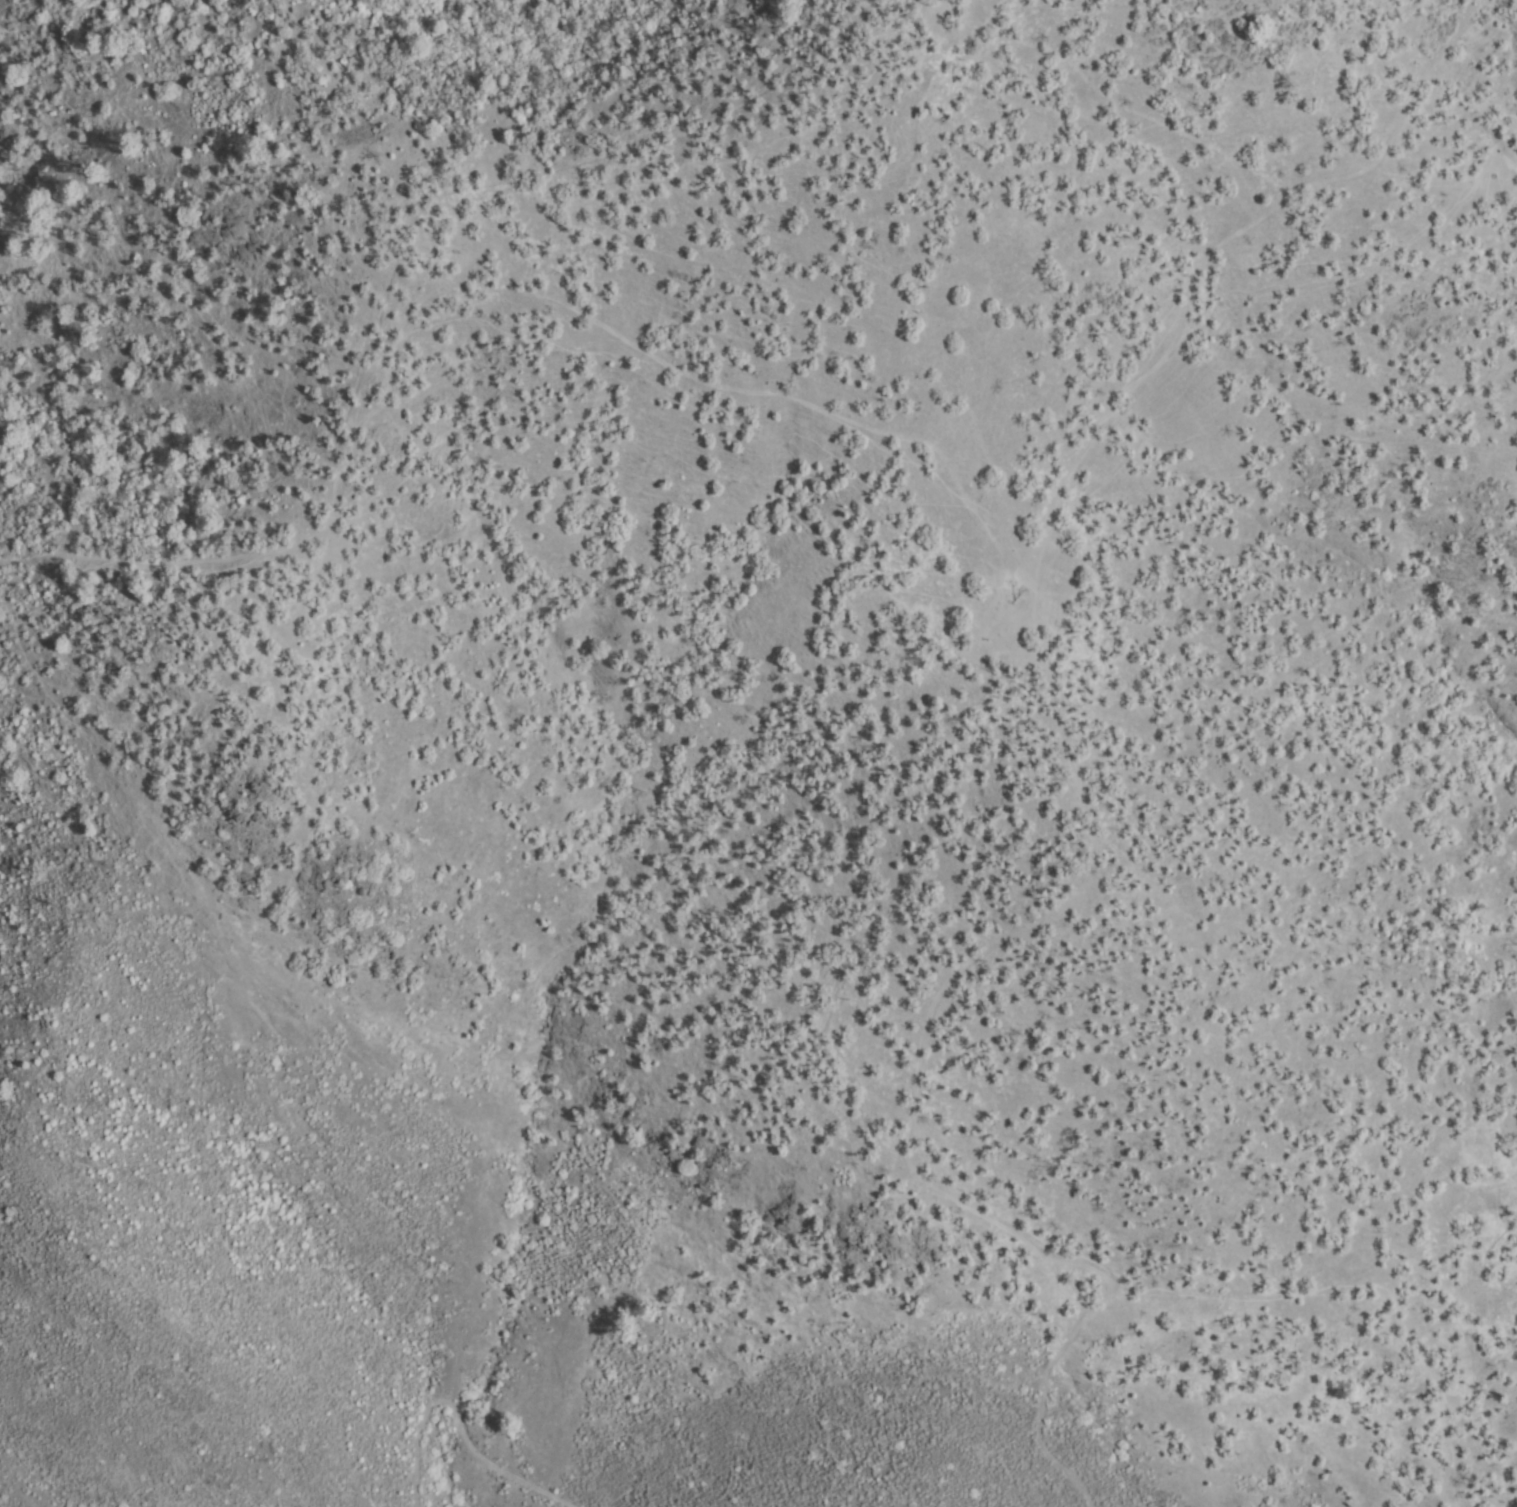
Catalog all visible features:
road: (459, 1418)

